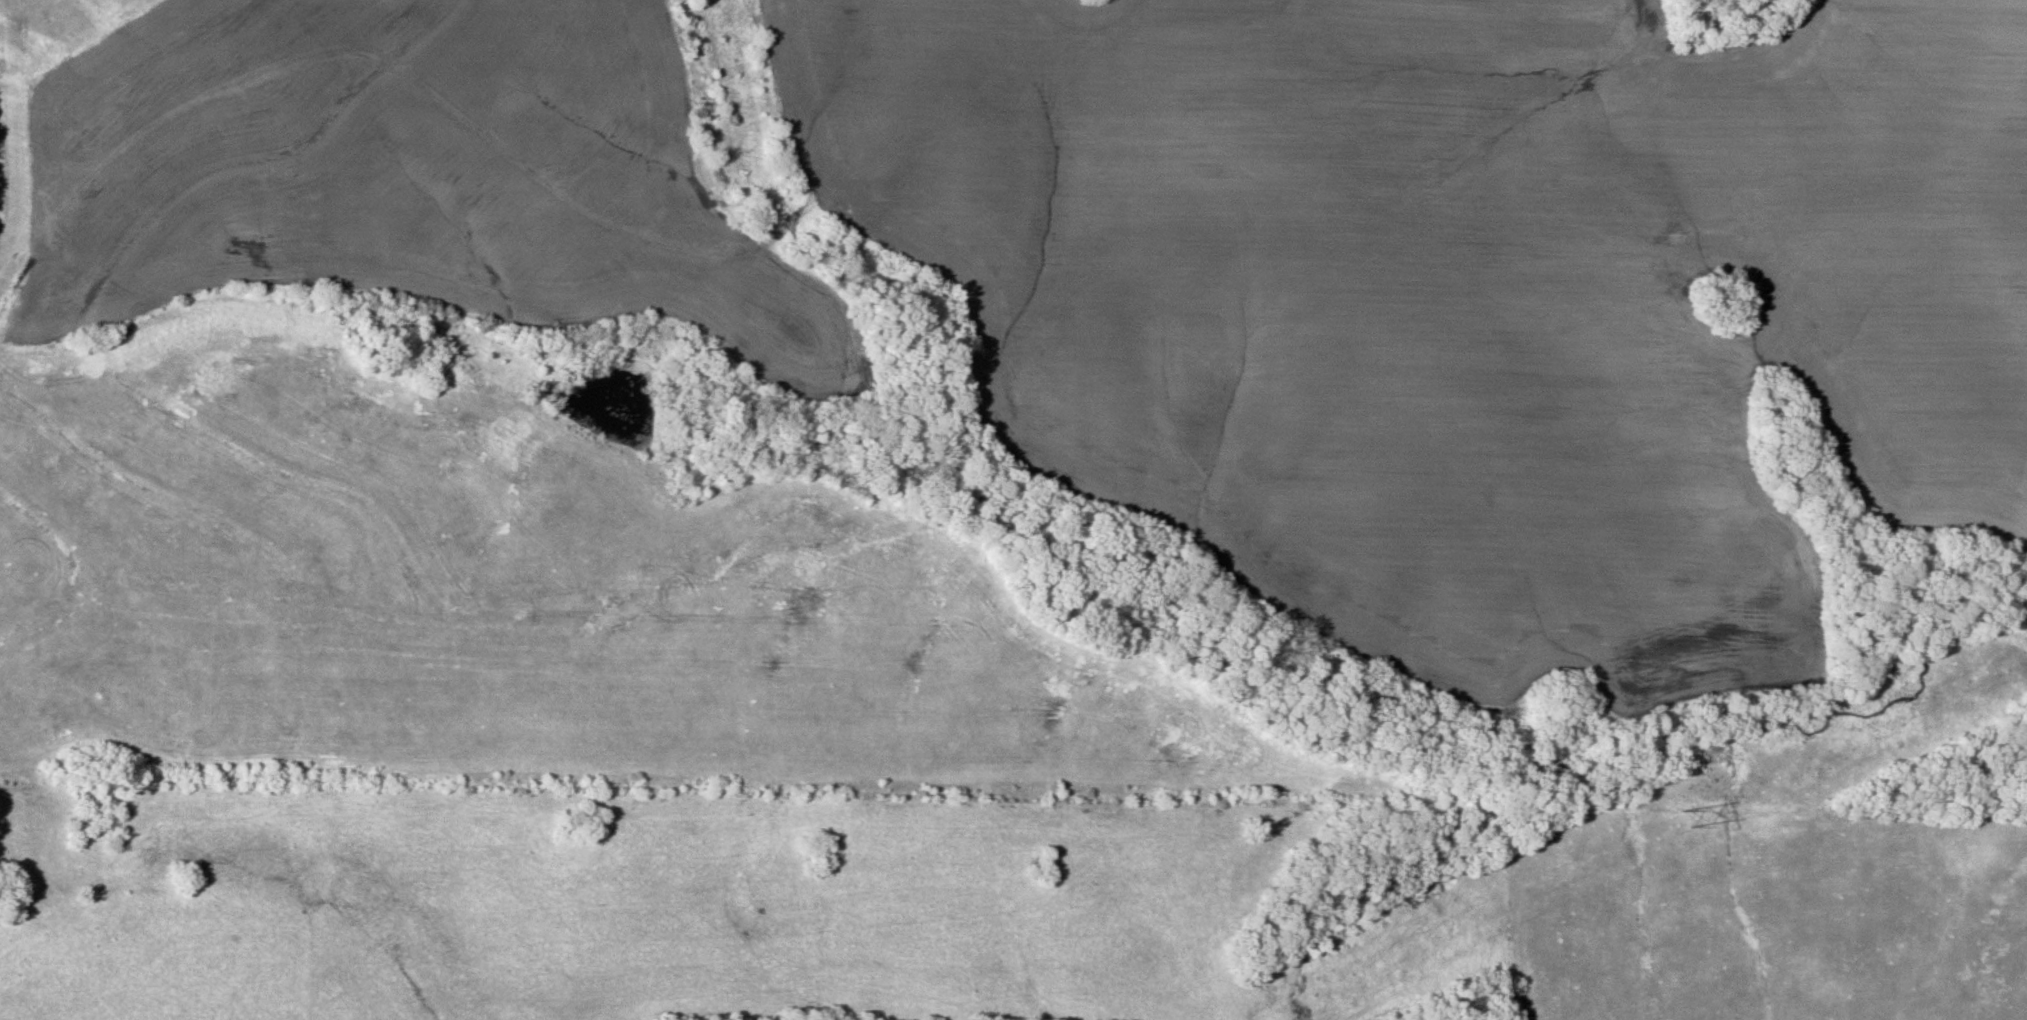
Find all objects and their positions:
power tower: (1667, 829)

